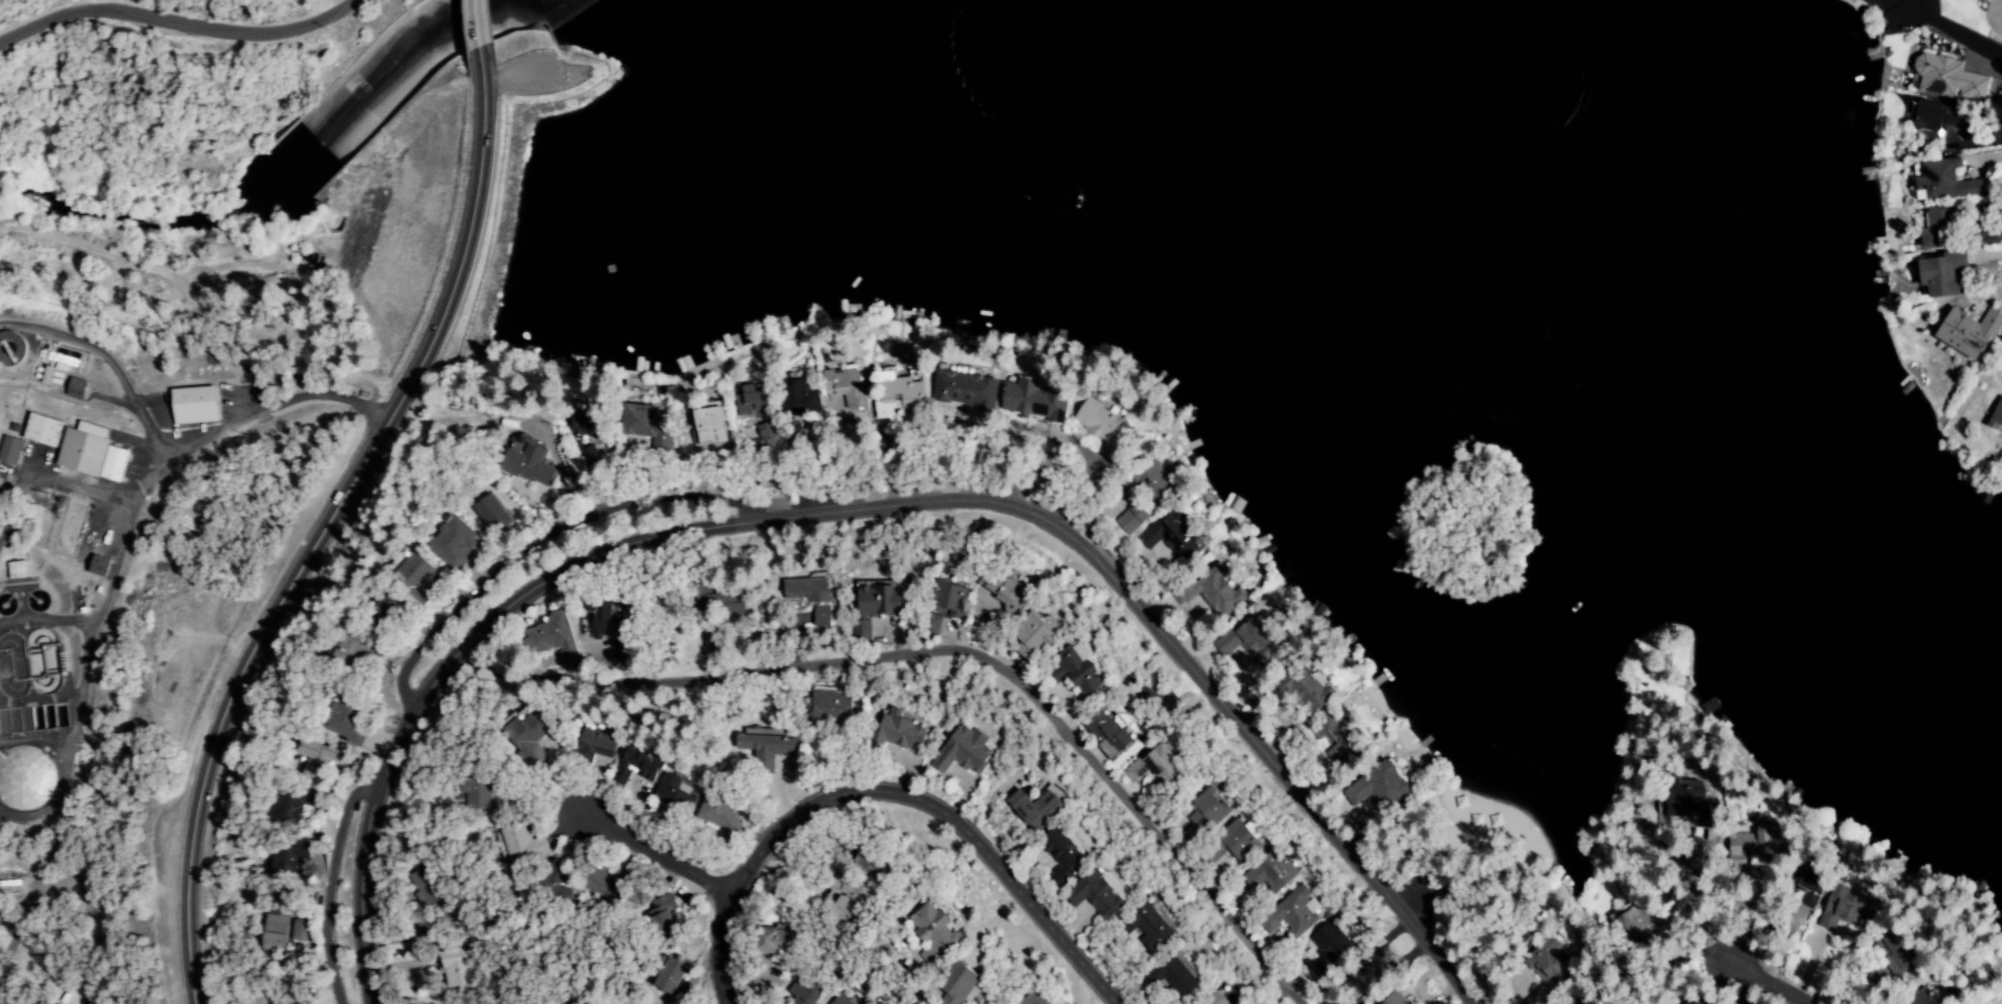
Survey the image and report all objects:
road: (175, 21)
road: (479, 25)
road: (1957, 35)
building: (1934, 75)
building: (1929, 119)
dam: (544, 130)
building: (1943, 183)
building: (1932, 229)
building: (1936, 275)
building: (1964, 331)
building: (77, 388)
building: (964, 388)
building: (800, 393)
building: (901, 395)
road: (322, 397)
building: (1036, 400)
building: (192, 404)
building: (1995, 416)
building: (587, 422)
building: (1101, 426)
building: (46, 430)
building: (767, 434)
building: (646, 438)
building: (11, 451)
building: (90, 452)
building: (593, 458)
building: (528, 465)
building: (1150, 478)
road: (856, 511)
building: (493, 514)
building: (1133, 518)
road: (330, 525)
wastewater plant: (71, 533)
building: (1173, 537)
building: (454, 543)
road: (531, 544)
building: (101, 566)
building: (18, 570)
building: (410, 574)
building: (1010, 588)
building: (1214, 589)
building: (732, 597)
building: (812, 597)
wastewater plant: (39, 599)
building: (949, 599)
building: (881, 601)
wastewater plant: (6, 602)
building: (717, 603)
building: (610, 627)
building: (861, 630)
building: (554, 637)
building: (1035, 637)
building: (1261, 643)
building: (1228, 647)
wastewater plant: (38, 658)
road: (933, 659)
wastewater plant: (6, 663)
building: (1080, 672)
building: (1303, 690)
building: (831, 705)
building: (348, 721)
building: (899, 731)
building: (1110, 733)
building: (531, 738)
building: (1342, 738)
building: (767, 747)
building: (965, 748)
building: (318, 757)
wastewater plant: (26, 760)
building: (1158, 764)
building: (638, 766)
building: (26, 778)
building: (1381, 787)
building: (484, 789)
building: (677, 791)
road: (882, 794)
building: (293, 802)
building: (1038, 805)
building: (1205, 812)
building: (721, 818)
building: (1731, 828)
building: (1241, 840)
building: (1735, 841)
building: (522, 844)
building: (1756, 848)
road: (650, 851)
building: (1062, 855)
building: (287, 861)
building: (1271, 872)
building: (556, 879)
road: (315, 885)
building: (601, 885)
building: (1801, 890)
building: (1099, 892)
building: (429, 895)
building: (855, 899)
building: (1834, 907)
building: (1294, 914)
building: (667, 917)
building: (1151, 923)
building: (298, 930)
building: (274, 932)
building: (942, 932)
building: (783, 944)
building: (1330, 945)
building: (455, 967)
building: (673, 976)
building: (1176, 977)
building: (1364, 980)
road: (1763, 980)
building: (964, 984)
building: (814, 992)
building: (1225, 997)
building: (849, 999)
building: (1394, 999)

